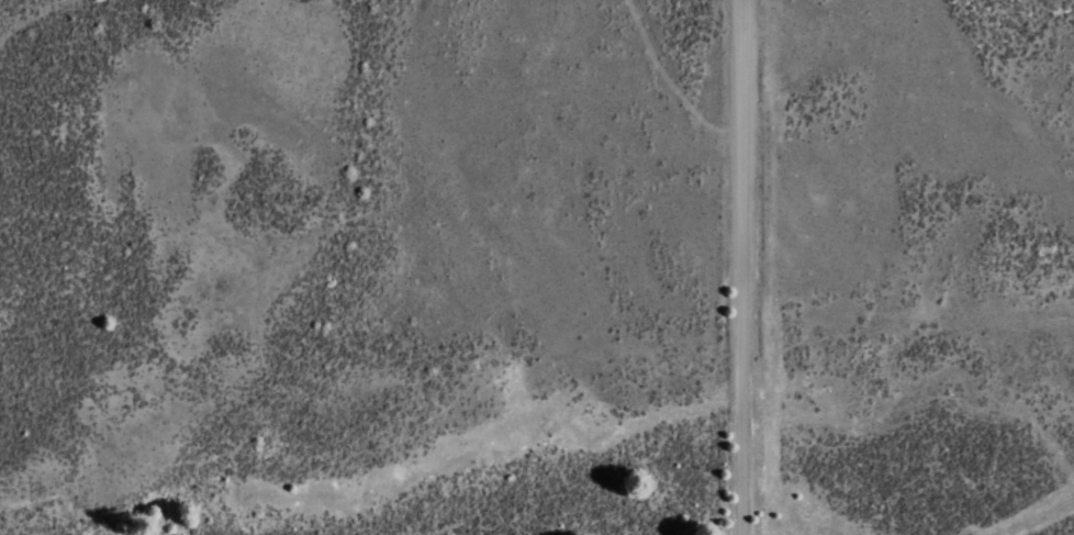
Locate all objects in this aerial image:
crop: (537, 267)
road: (742, 267)

